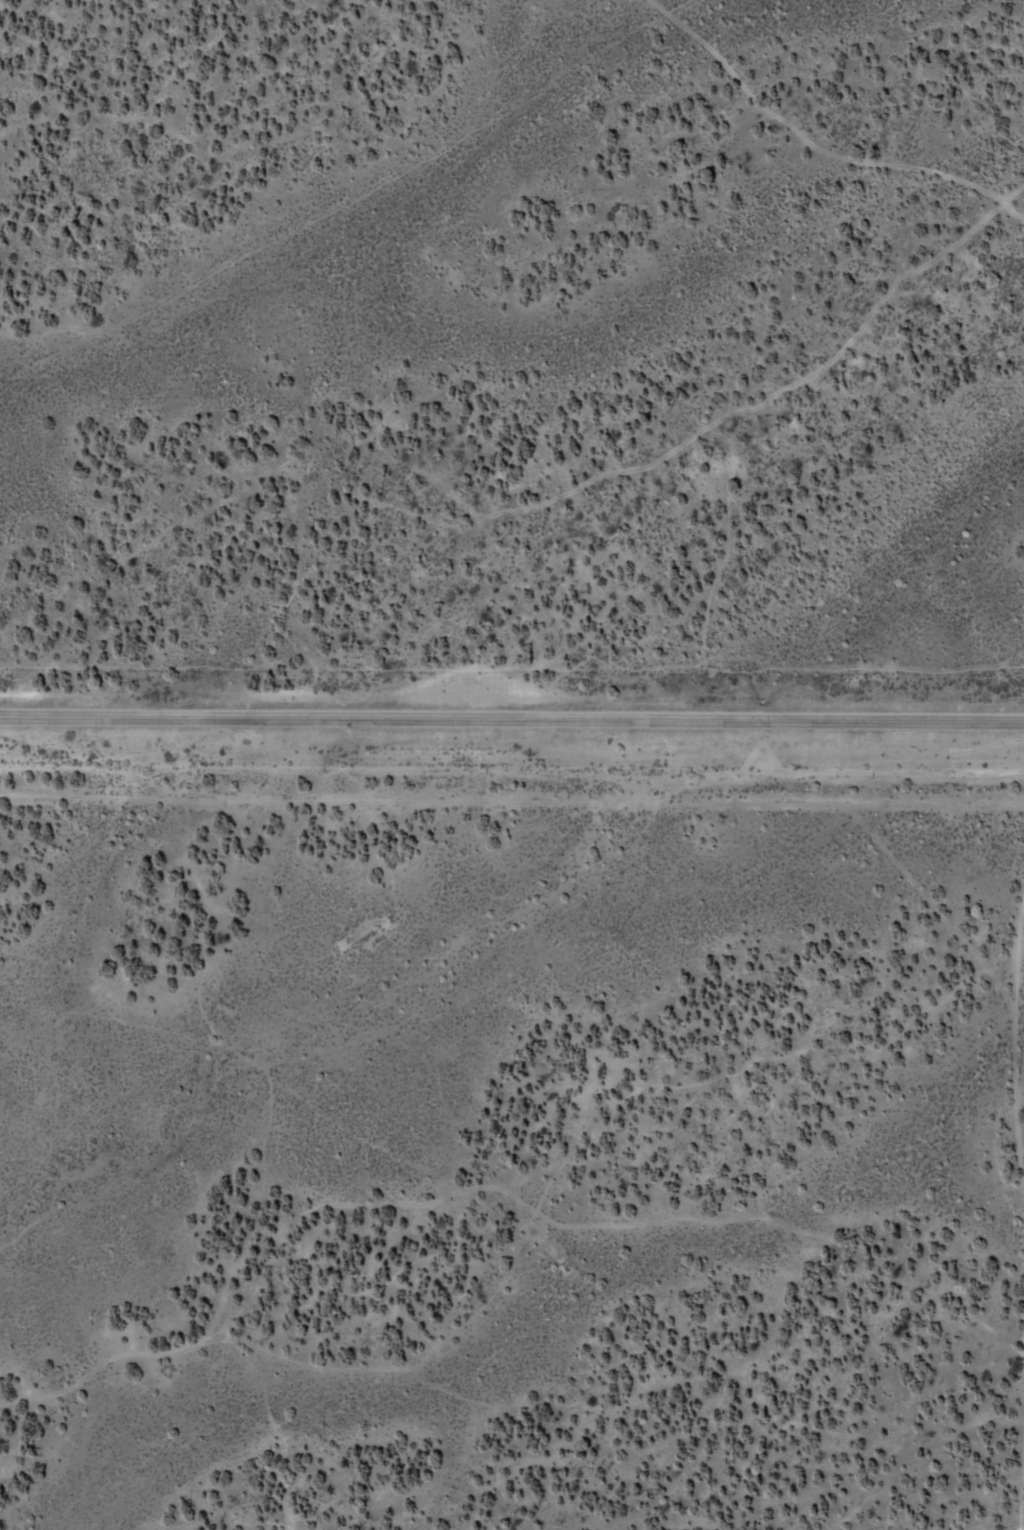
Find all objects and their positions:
road: (512, 710)

